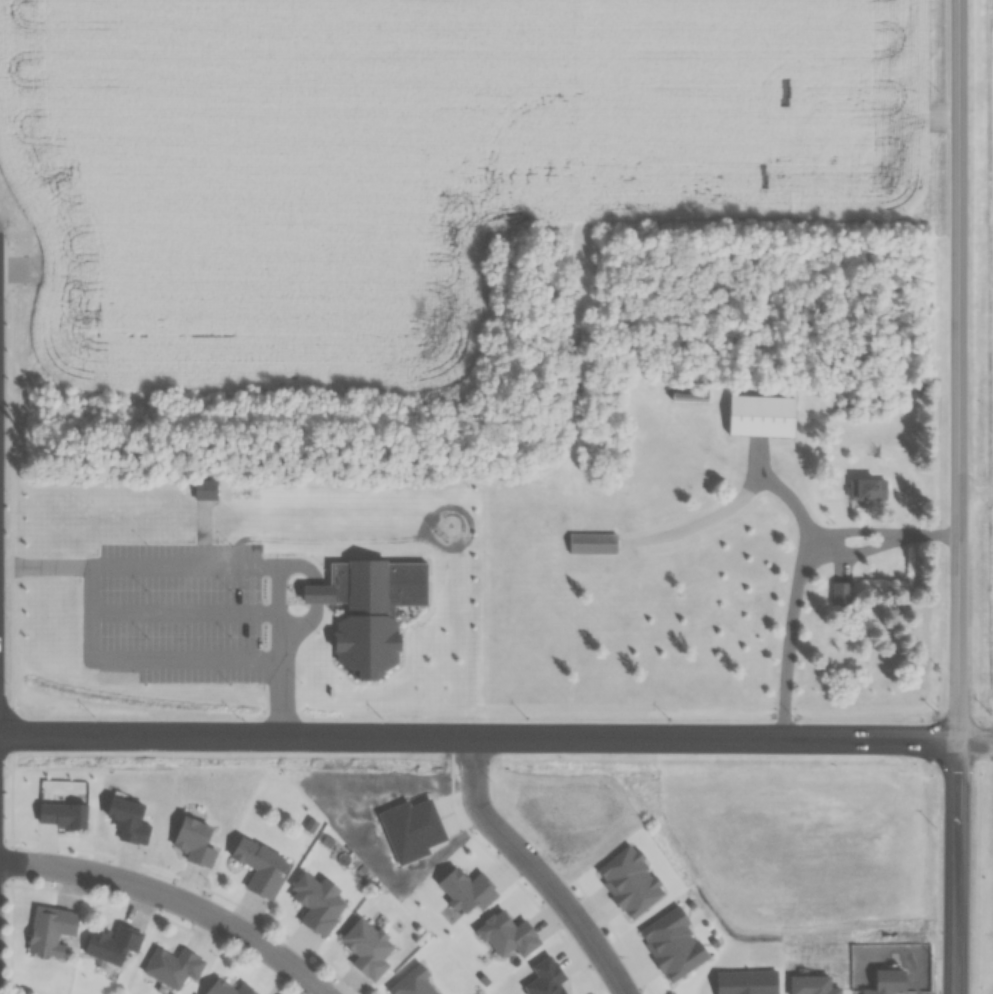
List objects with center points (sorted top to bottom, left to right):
road: (10, 270)
building: (759, 414)
building: (679, 466)
road: (780, 489)
building: (866, 489)
road: (958, 497)
road: (884, 531)
building: (593, 541)
road: (136, 567)
building: (840, 593)
road: (309, 597)
road: (273, 599)
road: (84, 613)
road: (179, 613)
parking lot: (171, 614)
building: (360, 615)
road: (790, 638)
road: (179, 661)
road: (274, 683)
road: (478, 738)
road: (975, 741)
road: (974, 750)
road: (936, 757)
building: (192, 840)
building: (258, 865)
road: (971, 867)
road: (537, 870)
road: (932, 872)
road: (175, 896)
building: (315, 903)
building: (50, 930)
building: (110, 943)
building: (364, 946)
building: (171, 966)
building: (411, 982)
building: (224, 988)

